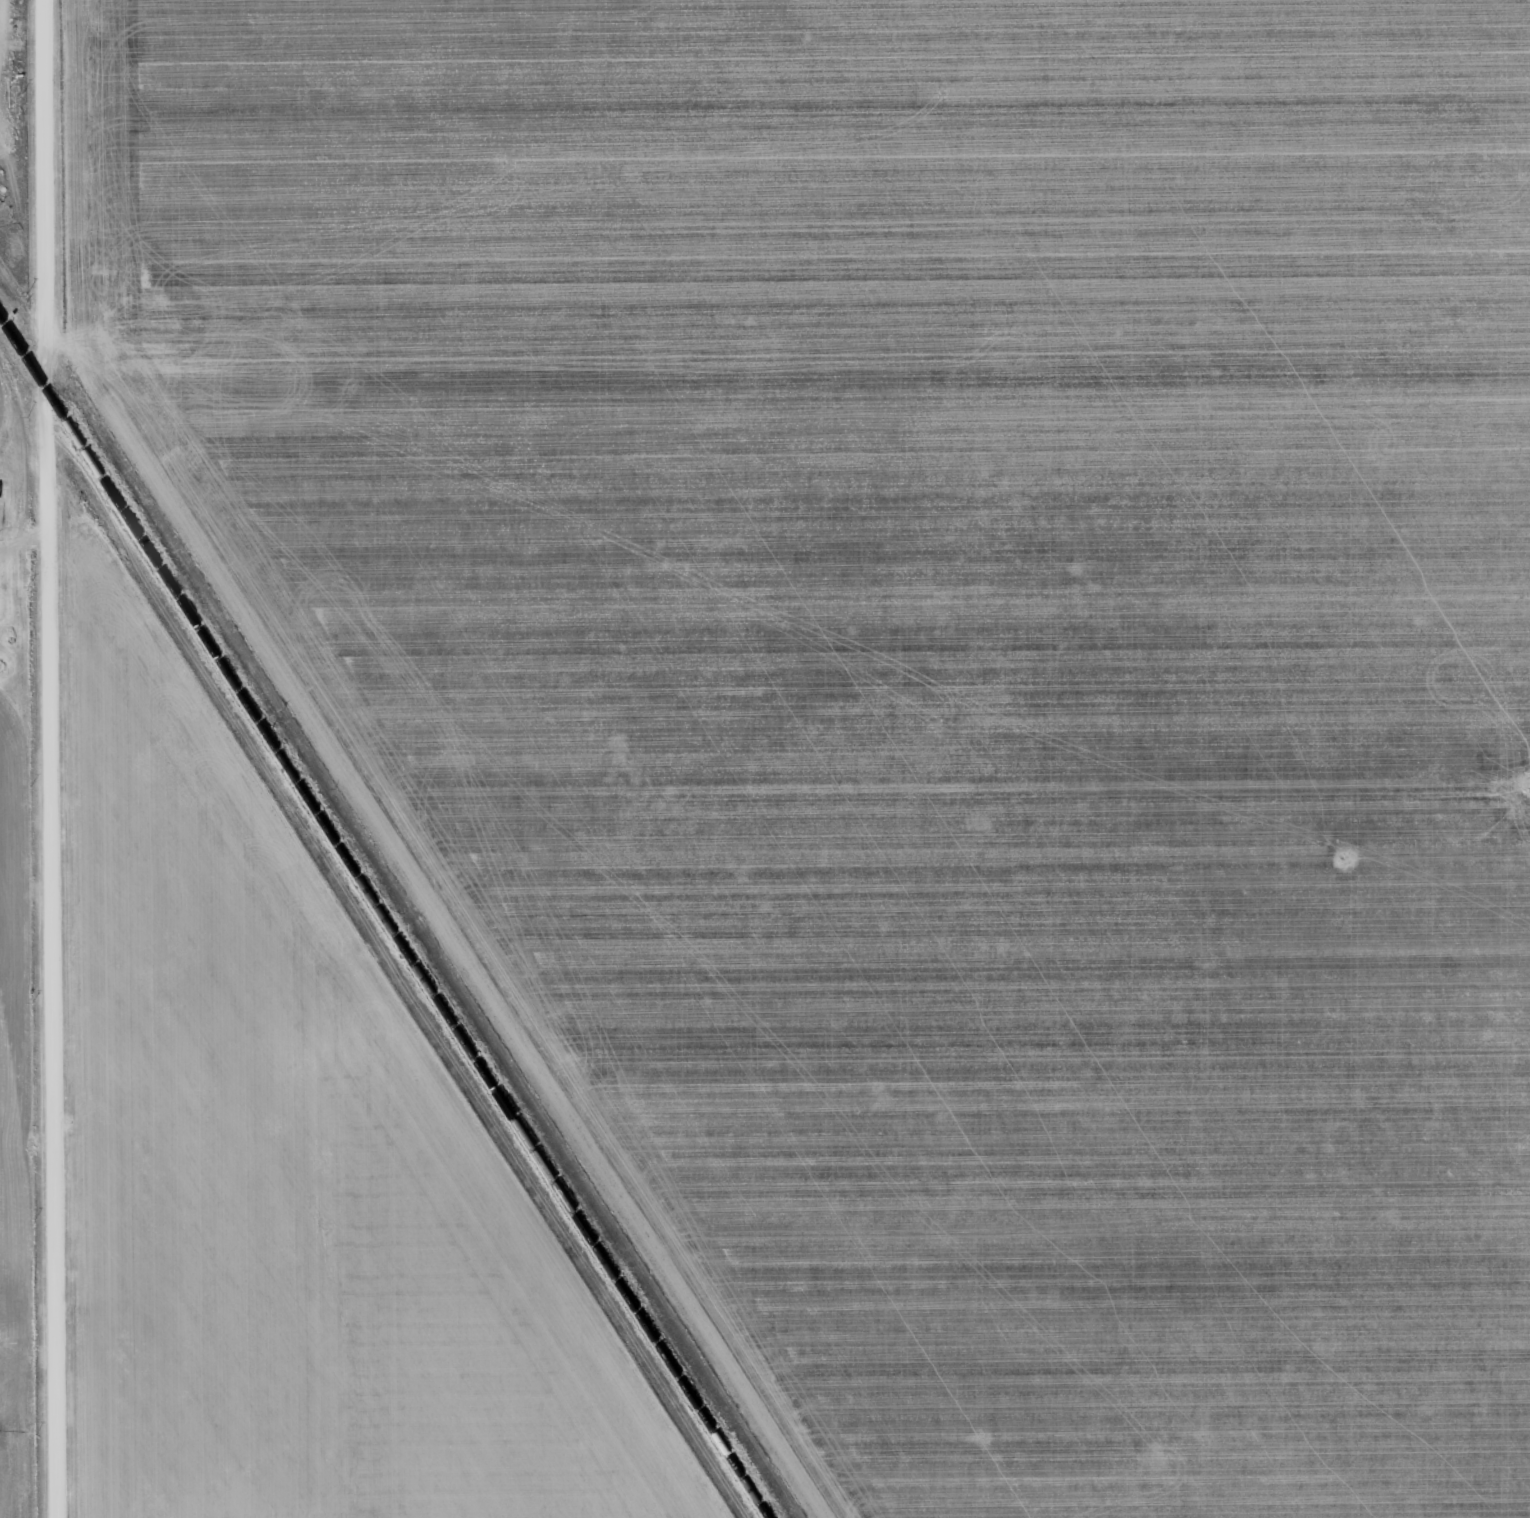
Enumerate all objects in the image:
road: (48, 759)
railway: (384, 916)

